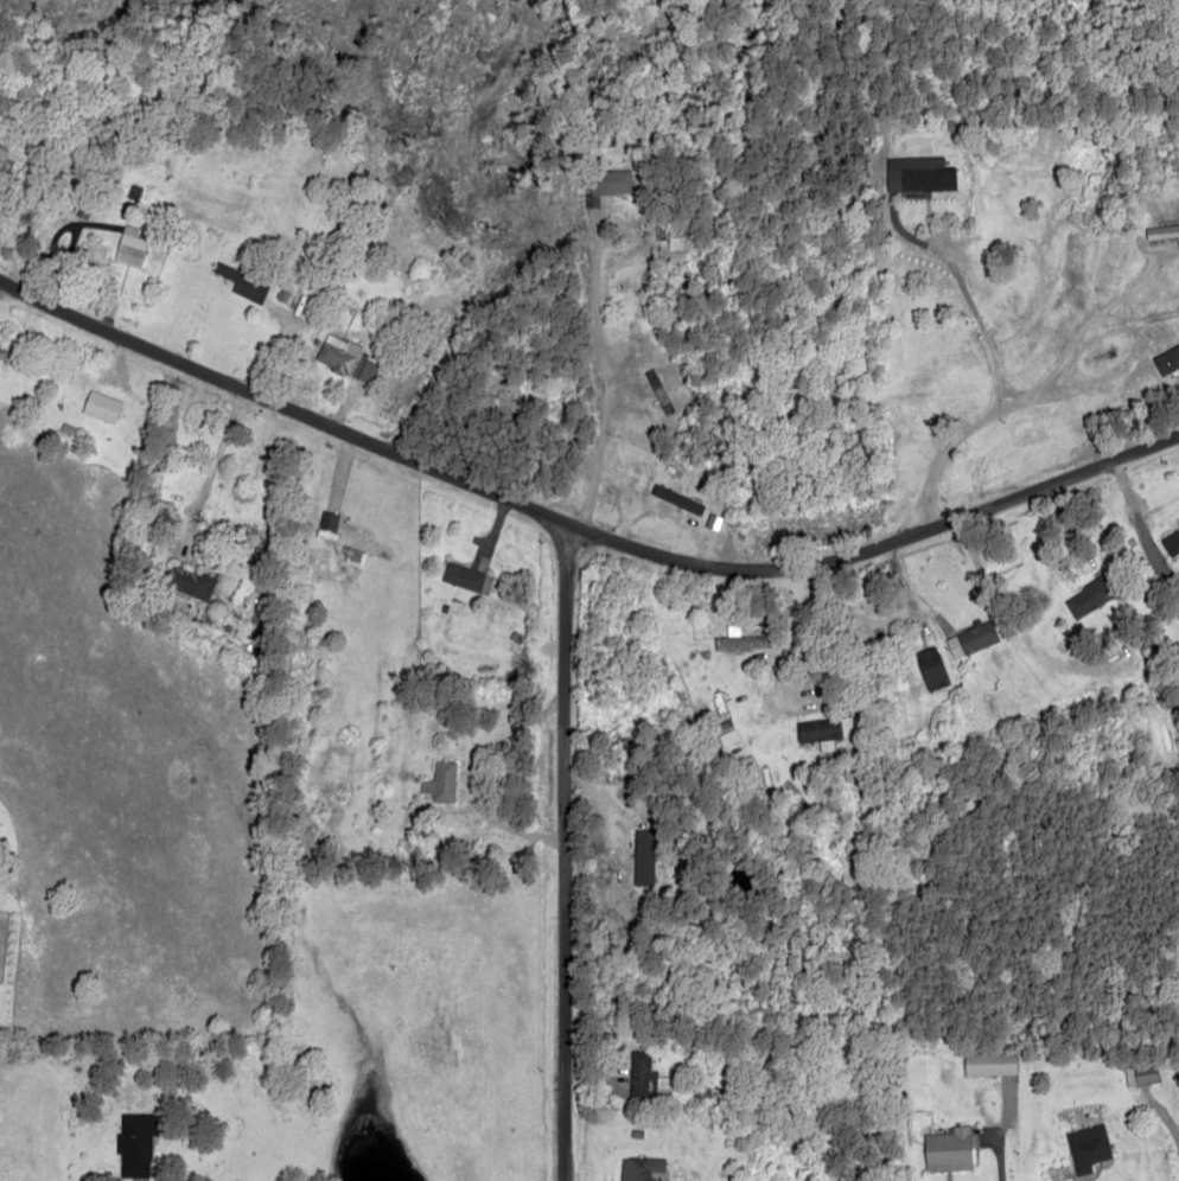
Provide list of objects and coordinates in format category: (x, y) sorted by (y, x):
building: (2, 153)
building: (918, 175)
building: (611, 181)
building: (1162, 232)
building: (130, 245)
building: (240, 277)
road: (754, 317)
building: (345, 358)
building: (1166, 359)
building: (504, 403)
building: (100, 406)
road: (650, 419)
road: (578, 530)
building: (466, 577)
building: (189, 581)
building: (1089, 596)
building: (733, 639)
building: (971, 639)
building: (931, 668)
building: (823, 730)
building: (440, 783)
road: (485, 821)
road: (554, 854)
building: (643, 857)
building: (988, 1064)
building: (638, 1072)
building: (135, 1143)
building: (1086, 1148)
building: (947, 1150)
building: (639, 1168)

